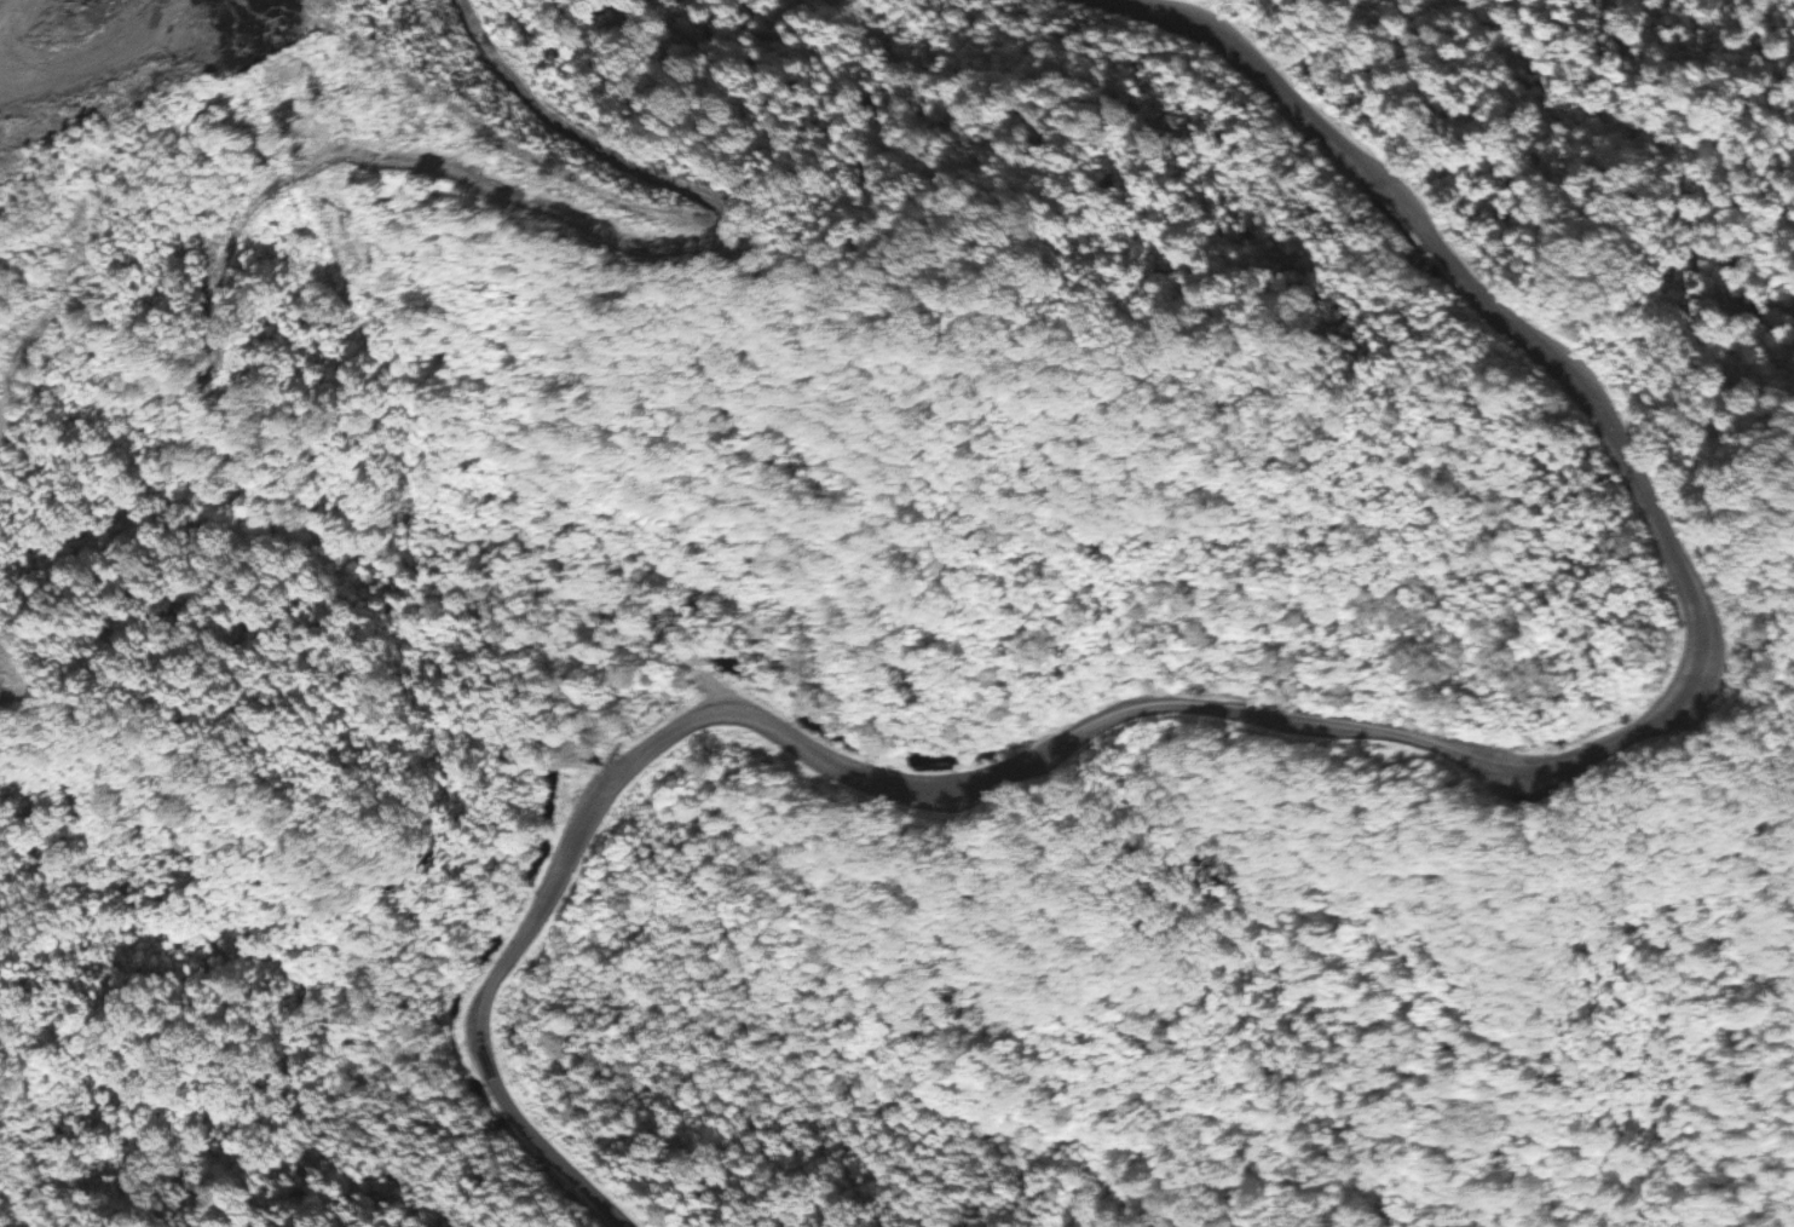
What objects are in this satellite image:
quarry: (237, 71)

